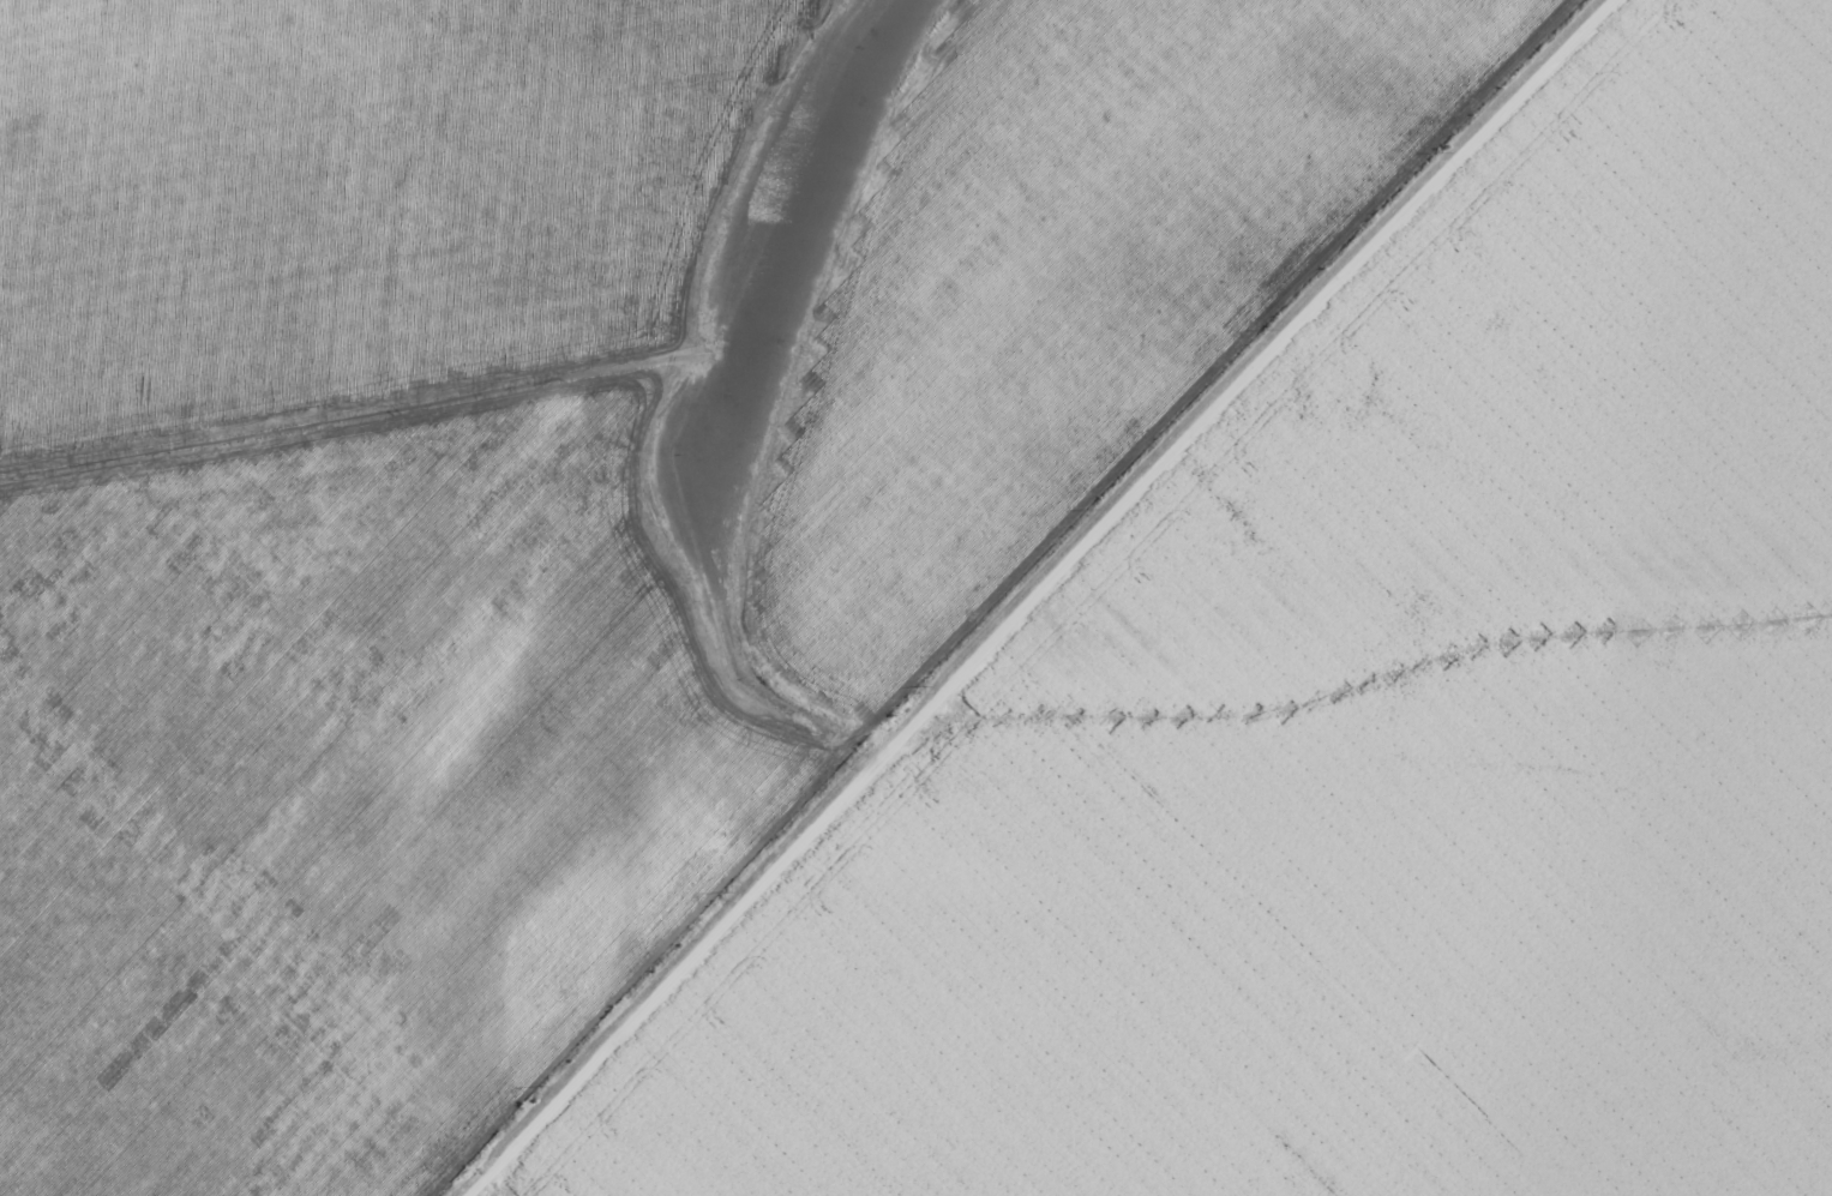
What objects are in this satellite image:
road: (1052, 597)

